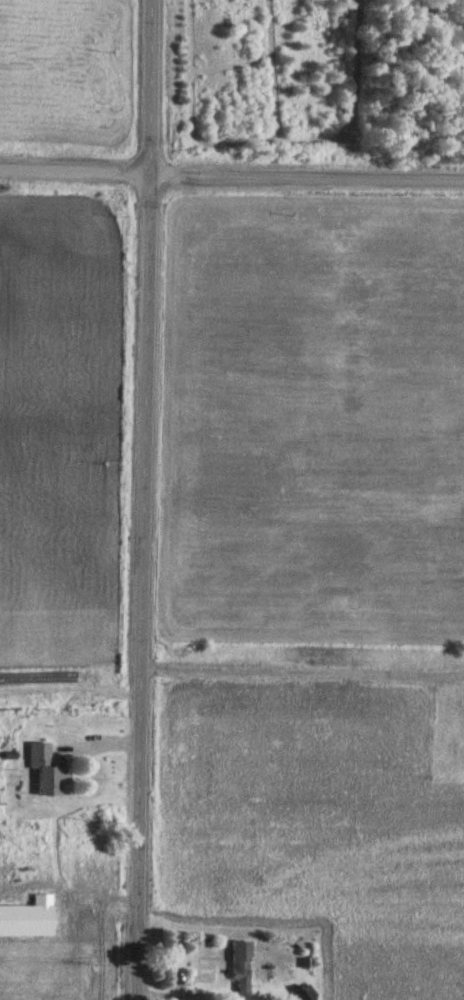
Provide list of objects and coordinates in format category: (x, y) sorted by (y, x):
road: (231, 176)
road: (144, 500)
building: (45, 769)
building: (28, 920)
building: (242, 968)

